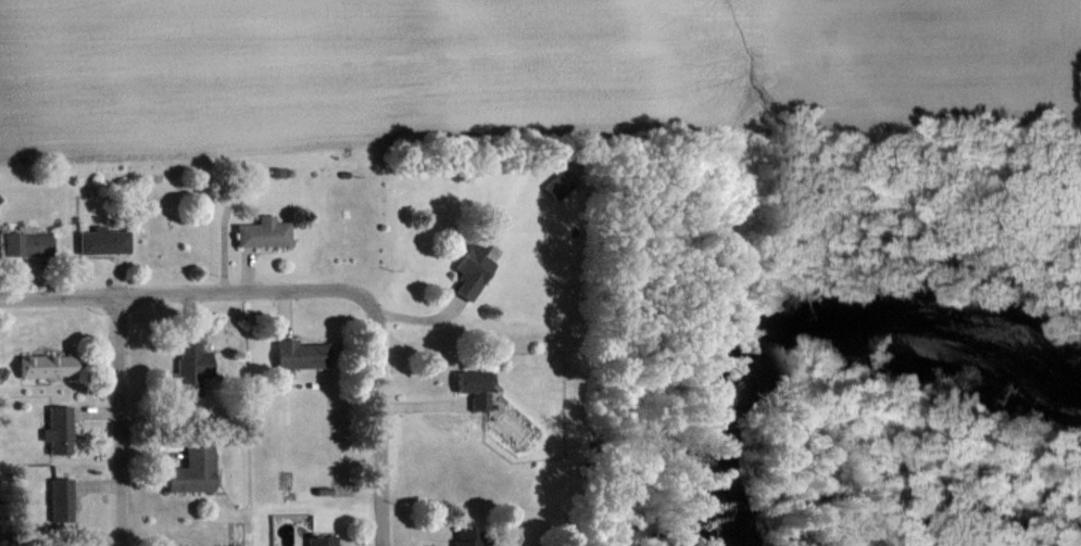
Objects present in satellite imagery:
building: (264, 231)
building: (104, 240)
building: (27, 242)
building: (475, 267)
road: (186, 293)
river: (814, 322)
building: (300, 353)
building: (48, 364)
building: (191, 368)
building: (476, 386)
road: (121, 421)
road: (381, 421)
building: (61, 429)
building: (194, 468)
building: (62, 498)
building: (470, 537)
building: (322, 539)

